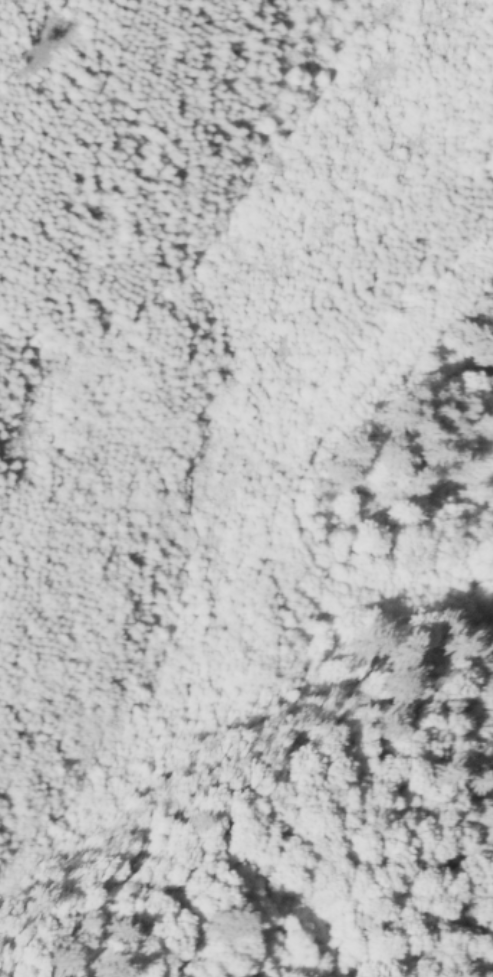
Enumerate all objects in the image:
road: (22, 61)

